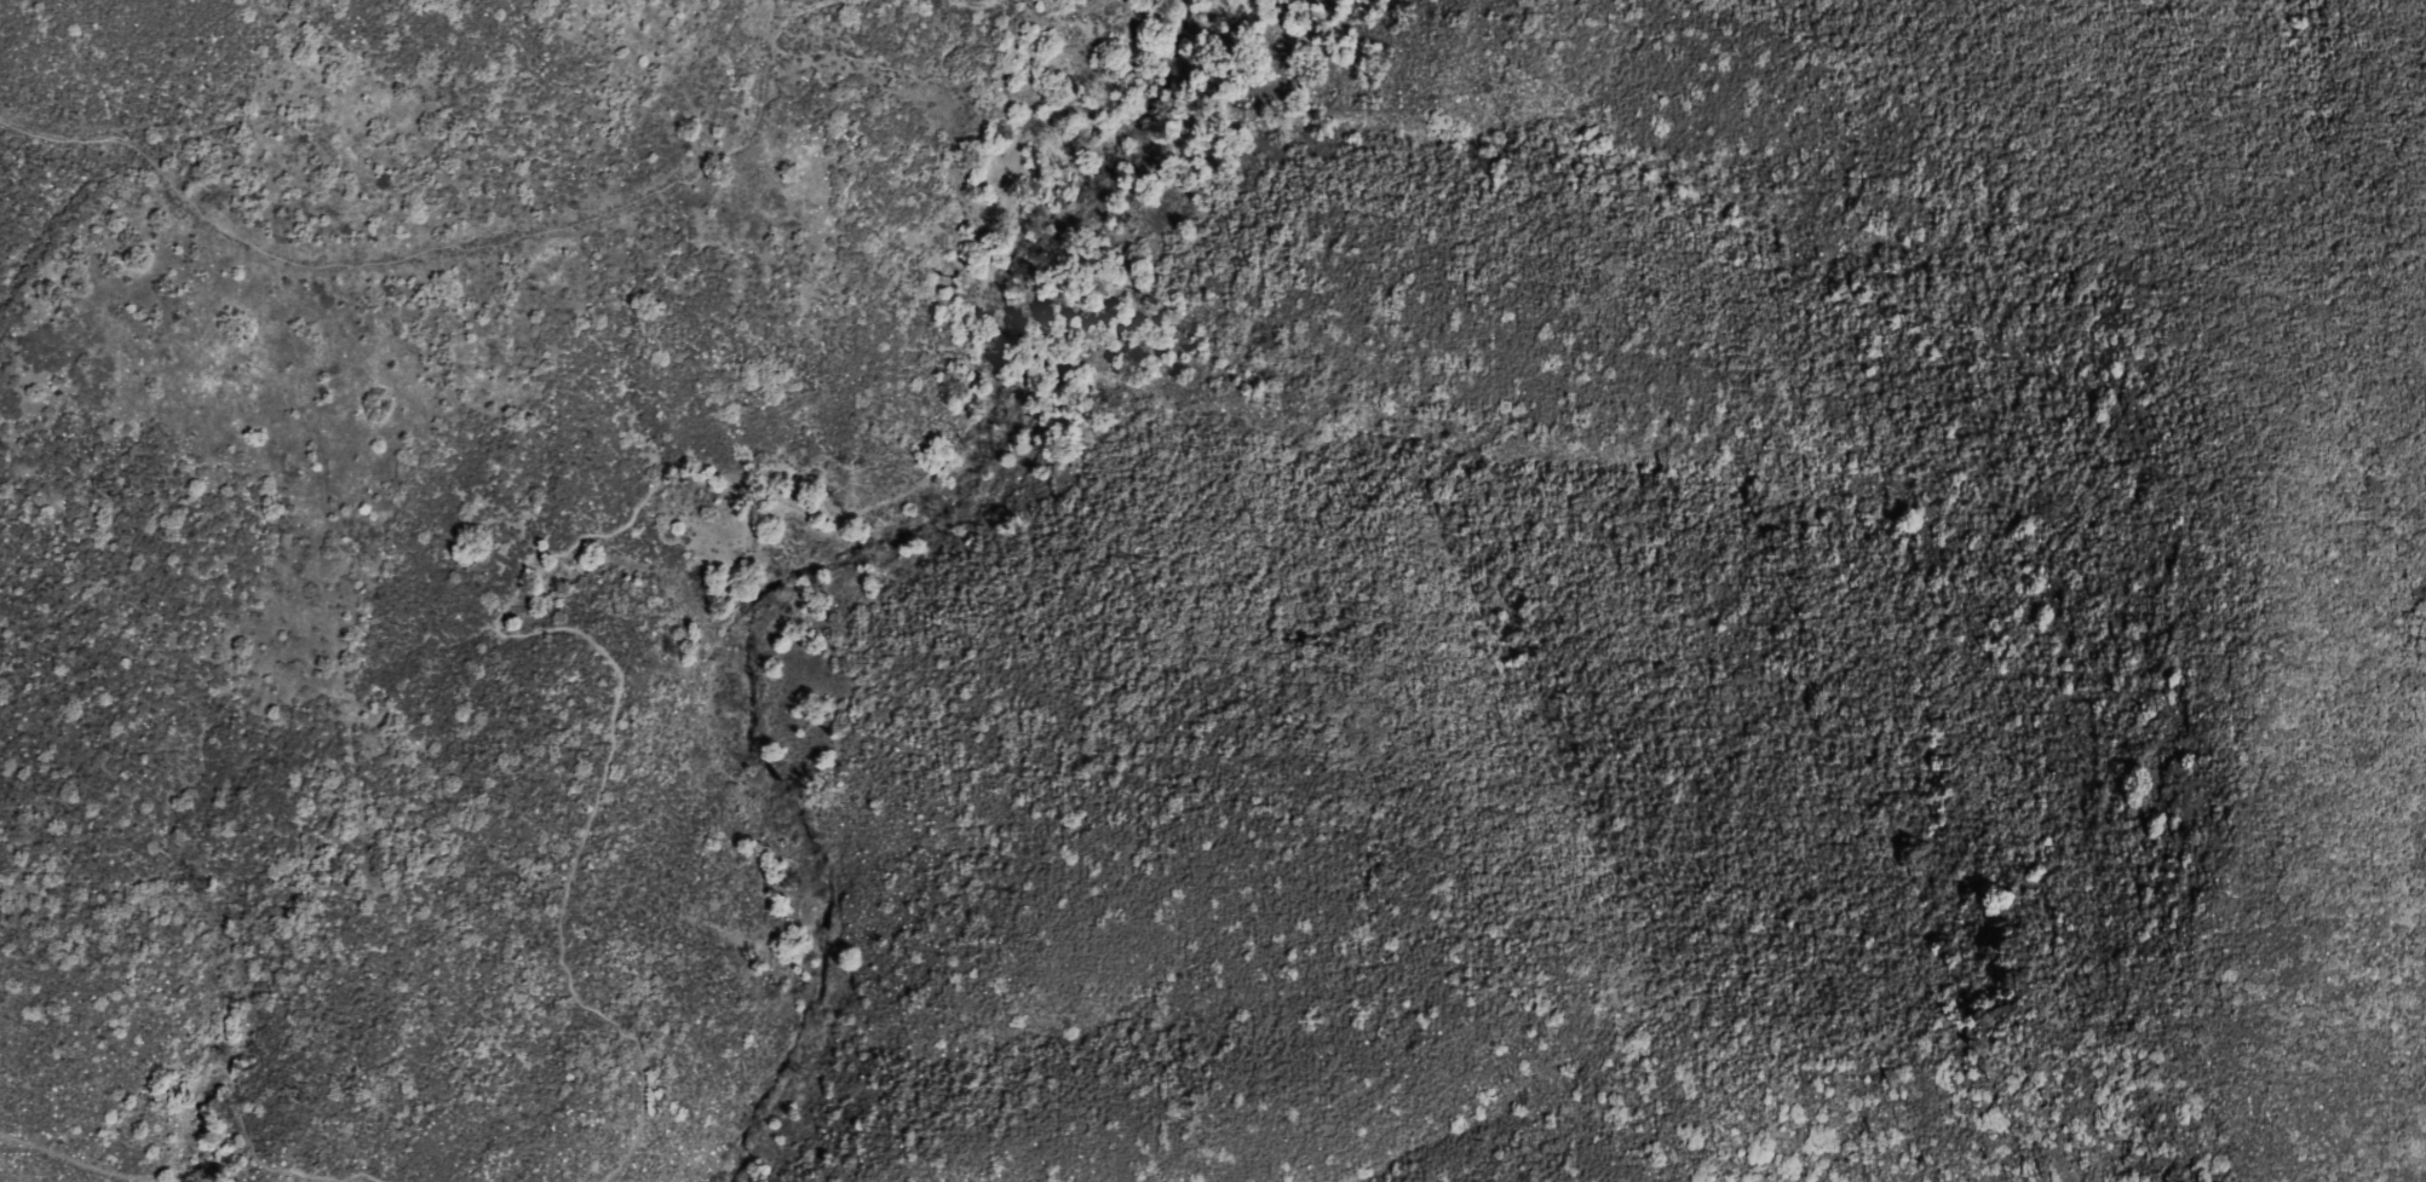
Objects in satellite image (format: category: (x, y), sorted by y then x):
road: (983, 4)
road: (956, 129)
road: (452, 249)
road: (1024, 323)
road: (609, 745)
road: (195, 1084)

